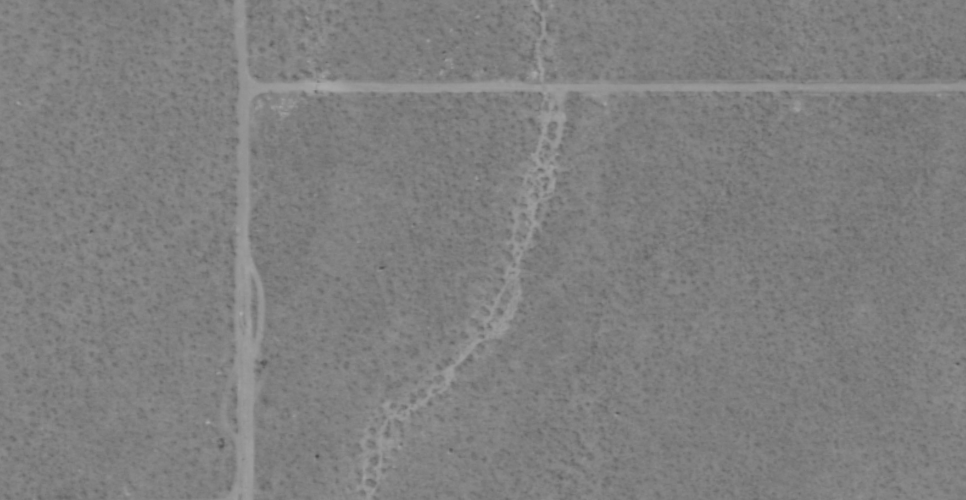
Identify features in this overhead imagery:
road: (249, 249)

